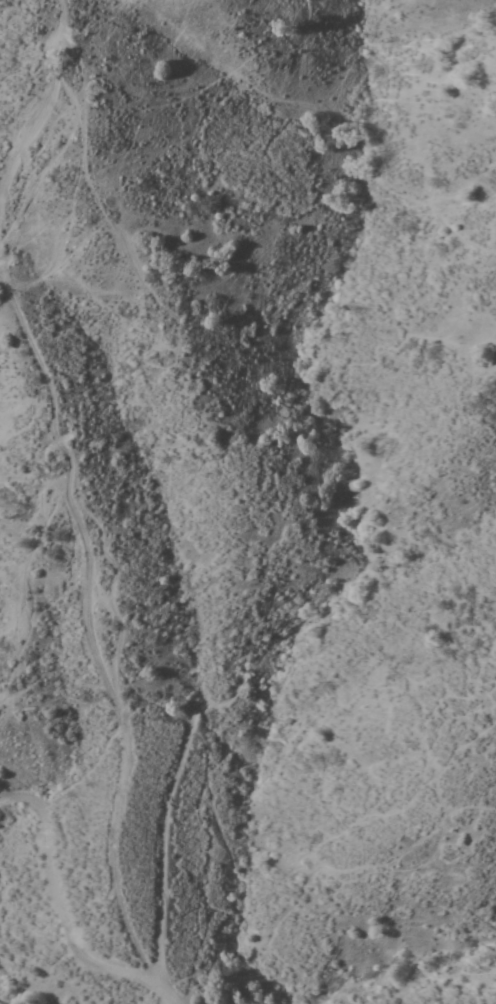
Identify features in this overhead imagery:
road: (83, 474)
road: (63, 909)

